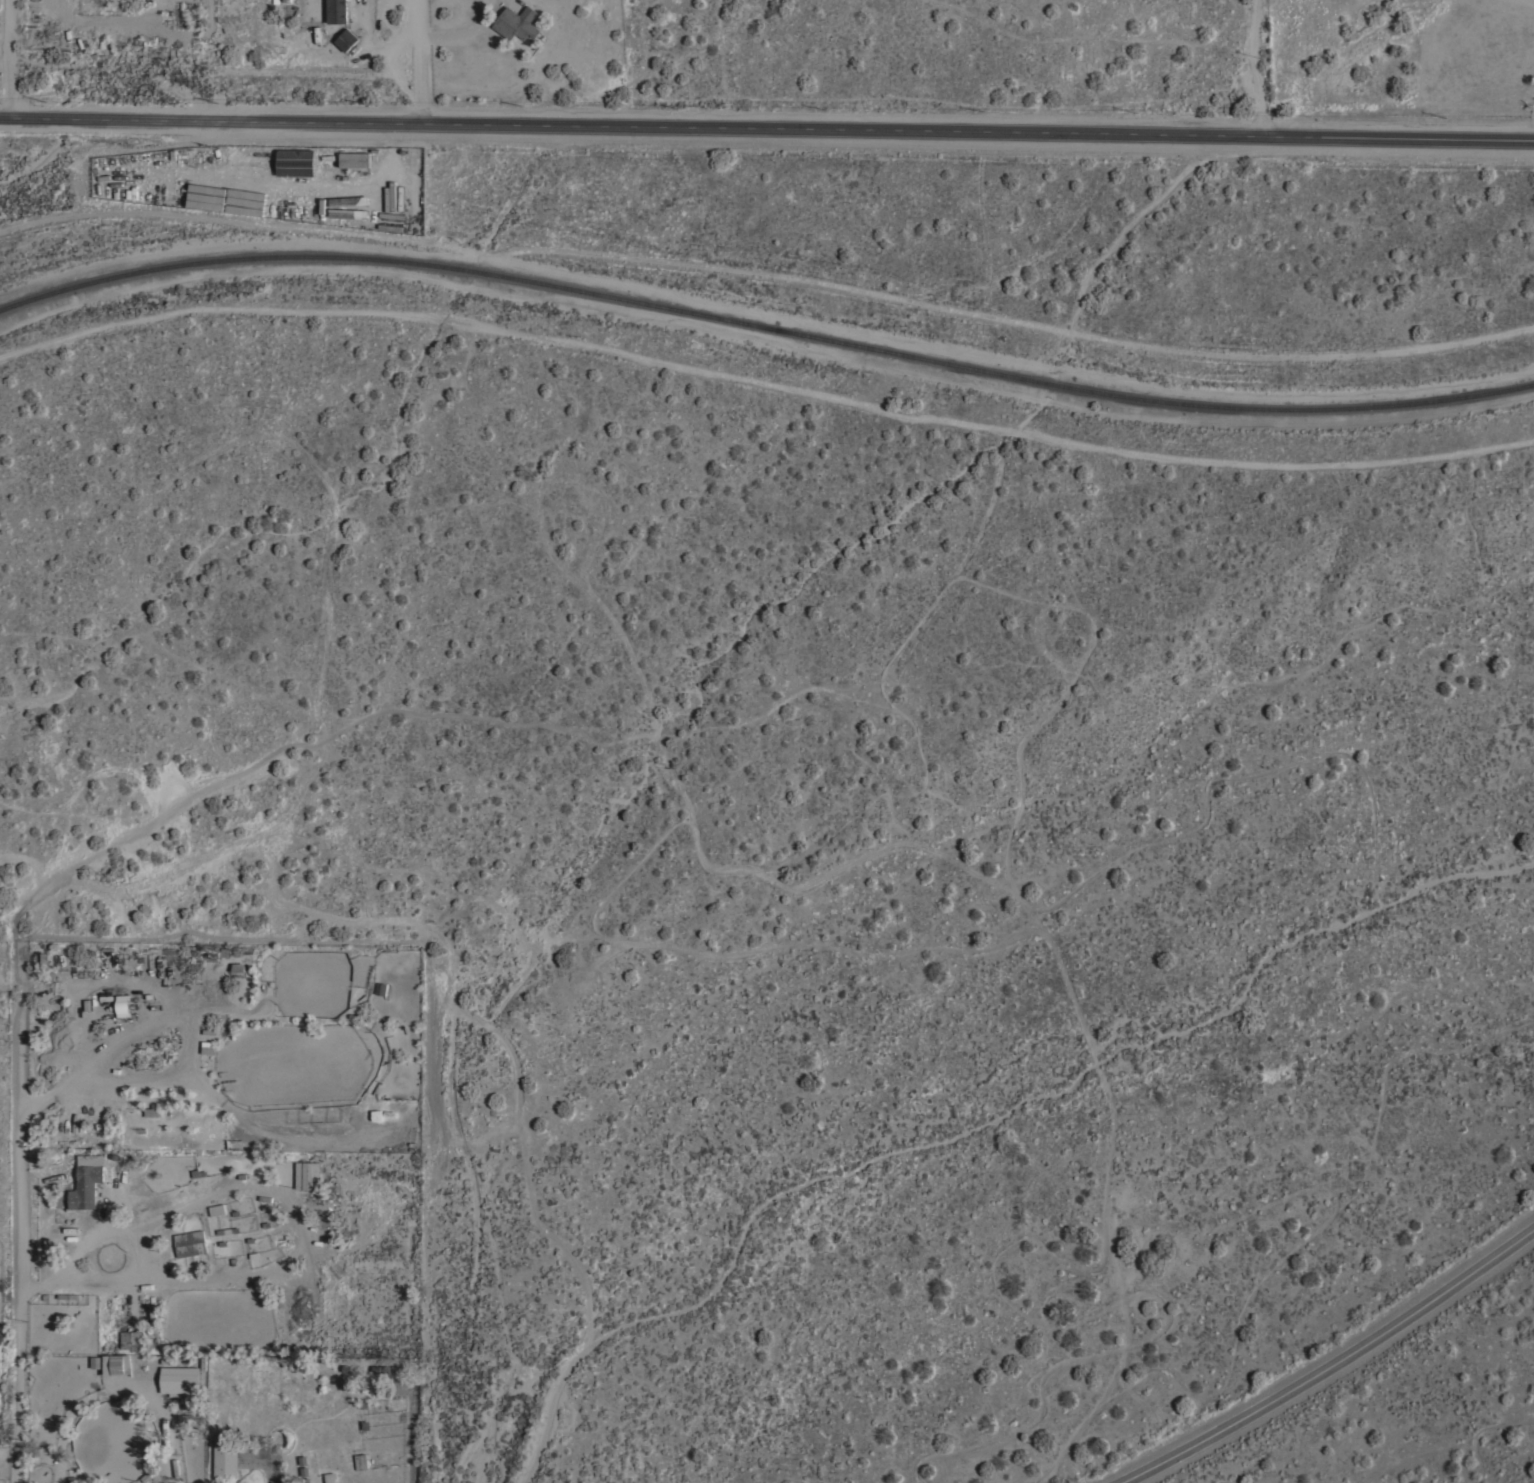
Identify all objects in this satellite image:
building: (336, 11)
building: (516, 22)
building: (345, 39)
road: (12, 59)
road: (418, 60)
road: (1257, 68)
road: (767, 128)
building: (355, 158)
building: (295, 161)
building: (392, 214)
building: (390, 226)
railway: (765, 324)
building: (152, 1111)
building: (300, 1129)
building: (308, 1174)
building: (86, 1180)
road: (21, 1220)
building: (190, 1242)
building: (132, 1338)
building: (116, 1364)
road: (1333, 1364)
building: (382, 1369)
building: (180, 1378)
building: (225, 1459)
building: (361, 1460)
road: (275, 1472)
building: (329, 1477)

